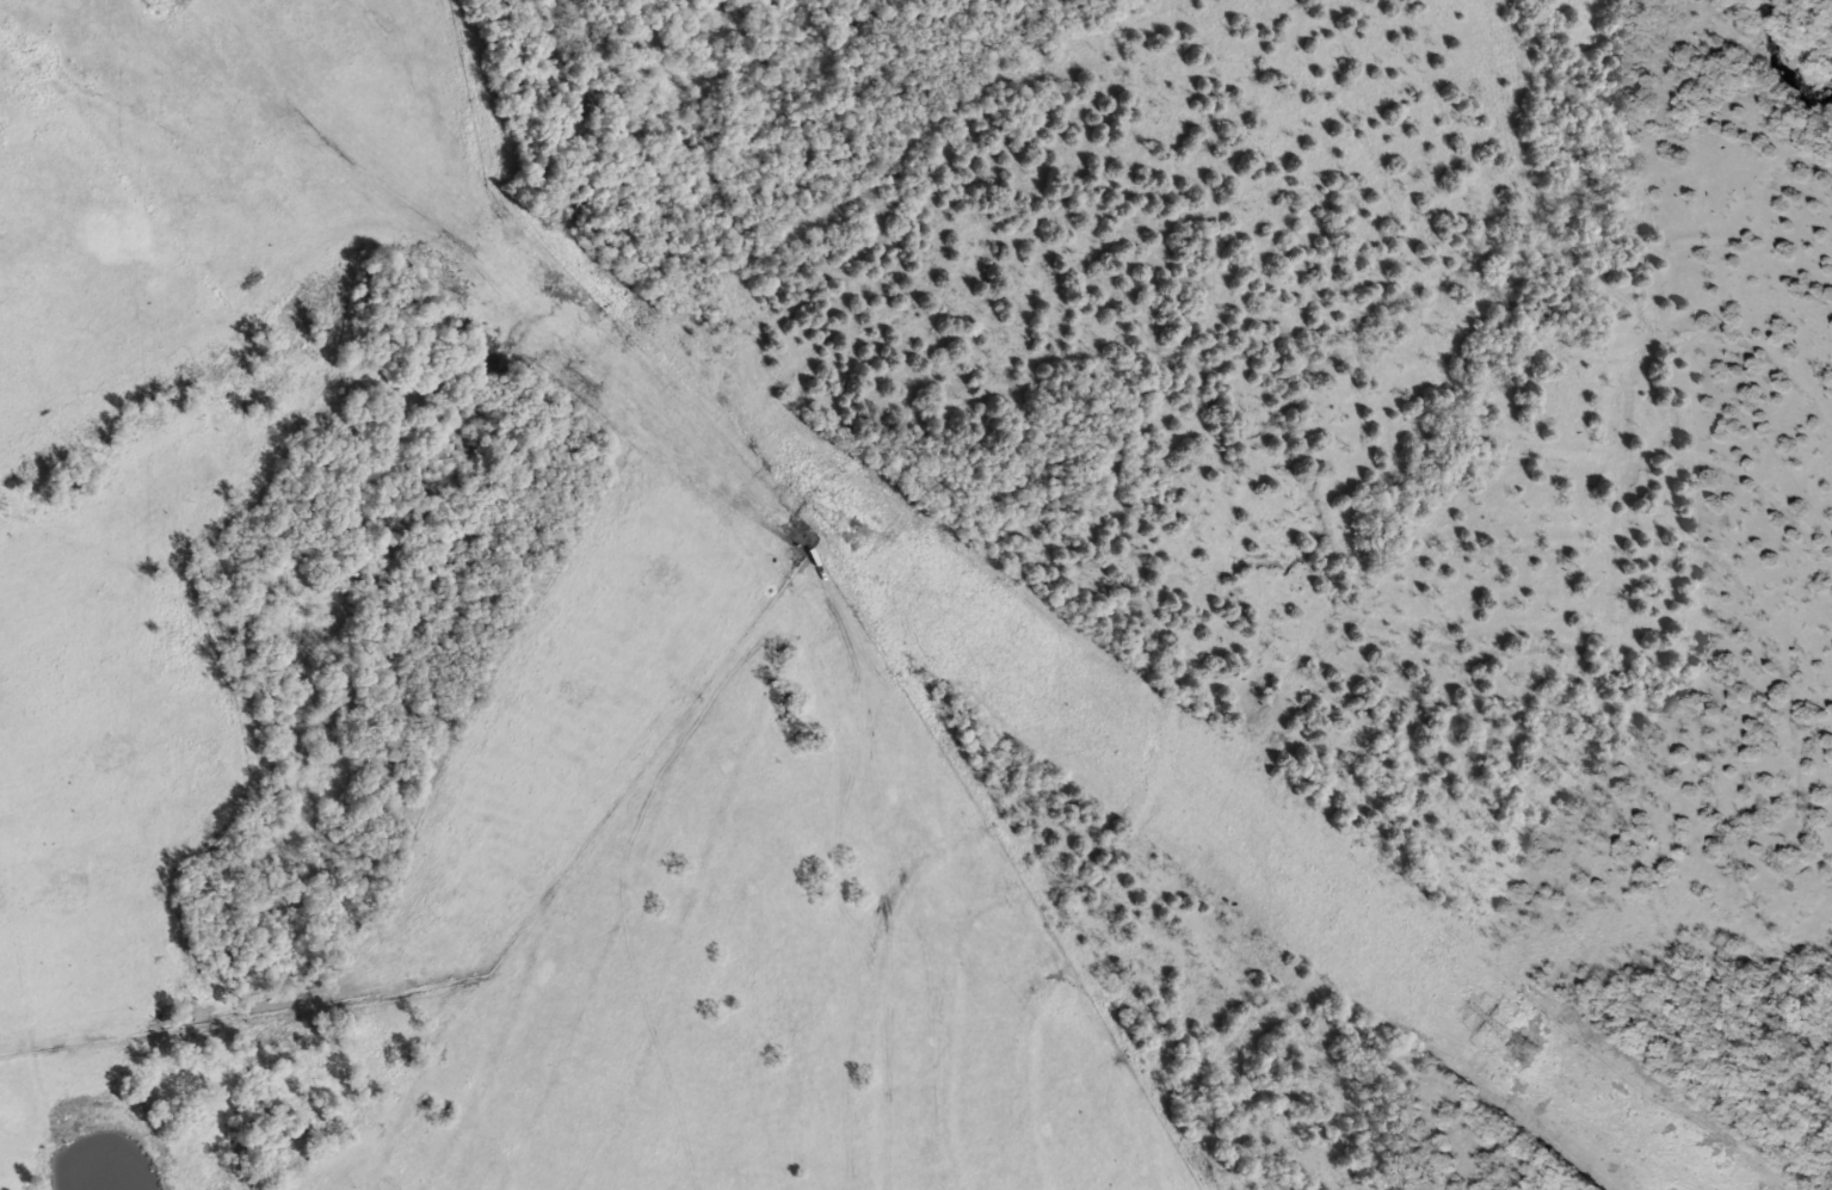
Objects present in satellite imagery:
power tower: (845, 535)
power tower: (1515, 1053)

